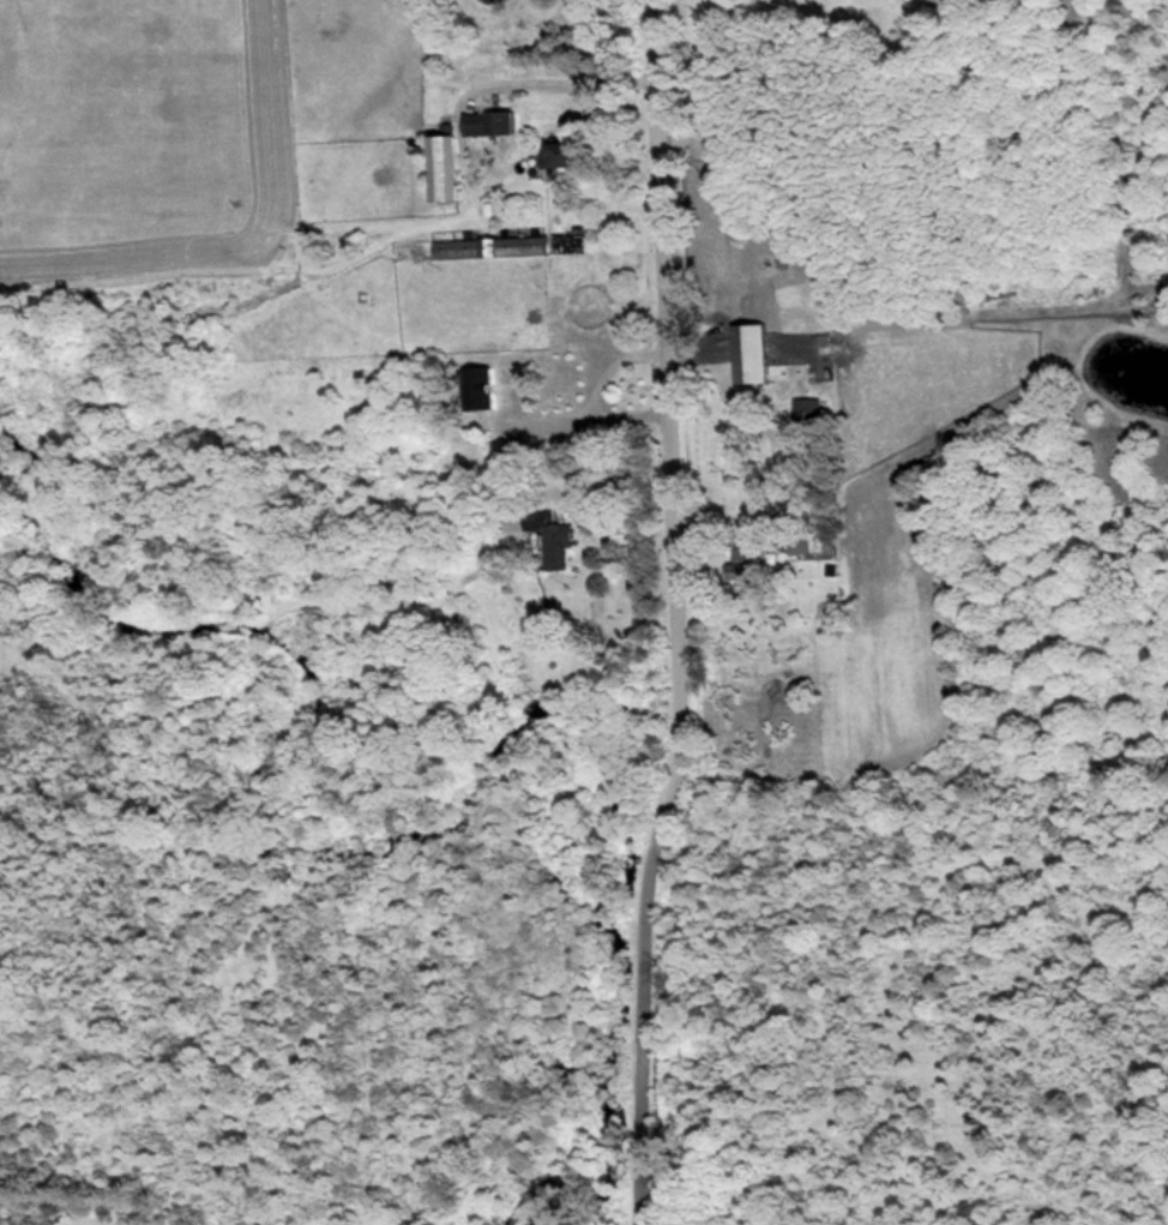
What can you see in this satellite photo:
building: (494, 122)
building: (567, 151)
building: (450, 169)
building: (512, 246)
building: (594, 305)
building: (760, 352)
road: (608, 366)
building: (490, 396)
road: (543, 421)
building: (555, 534)
building: (748, 568)
road: (672, 613)

